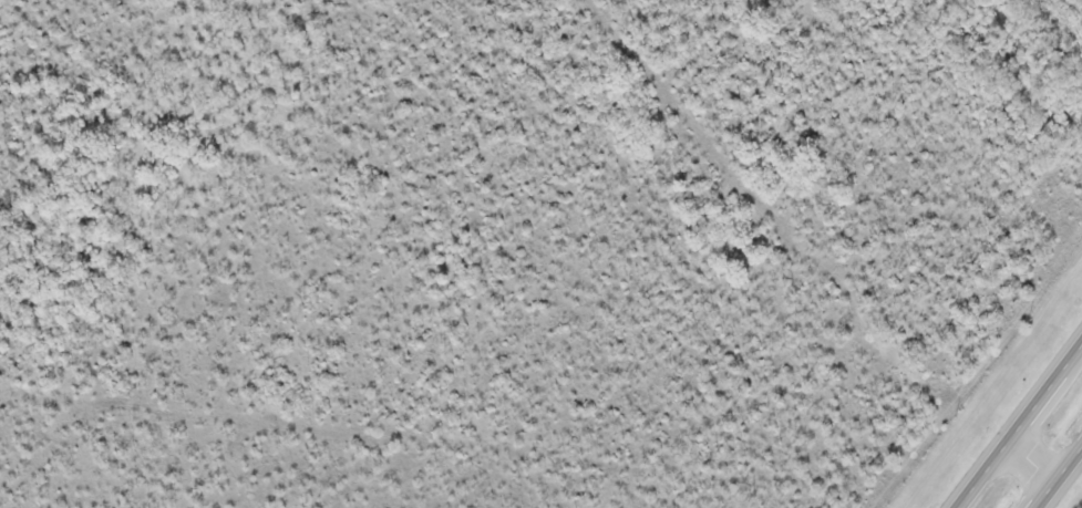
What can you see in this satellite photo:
road: (1023, 429)
road: (1042, 463)
road: (1066, 487)

